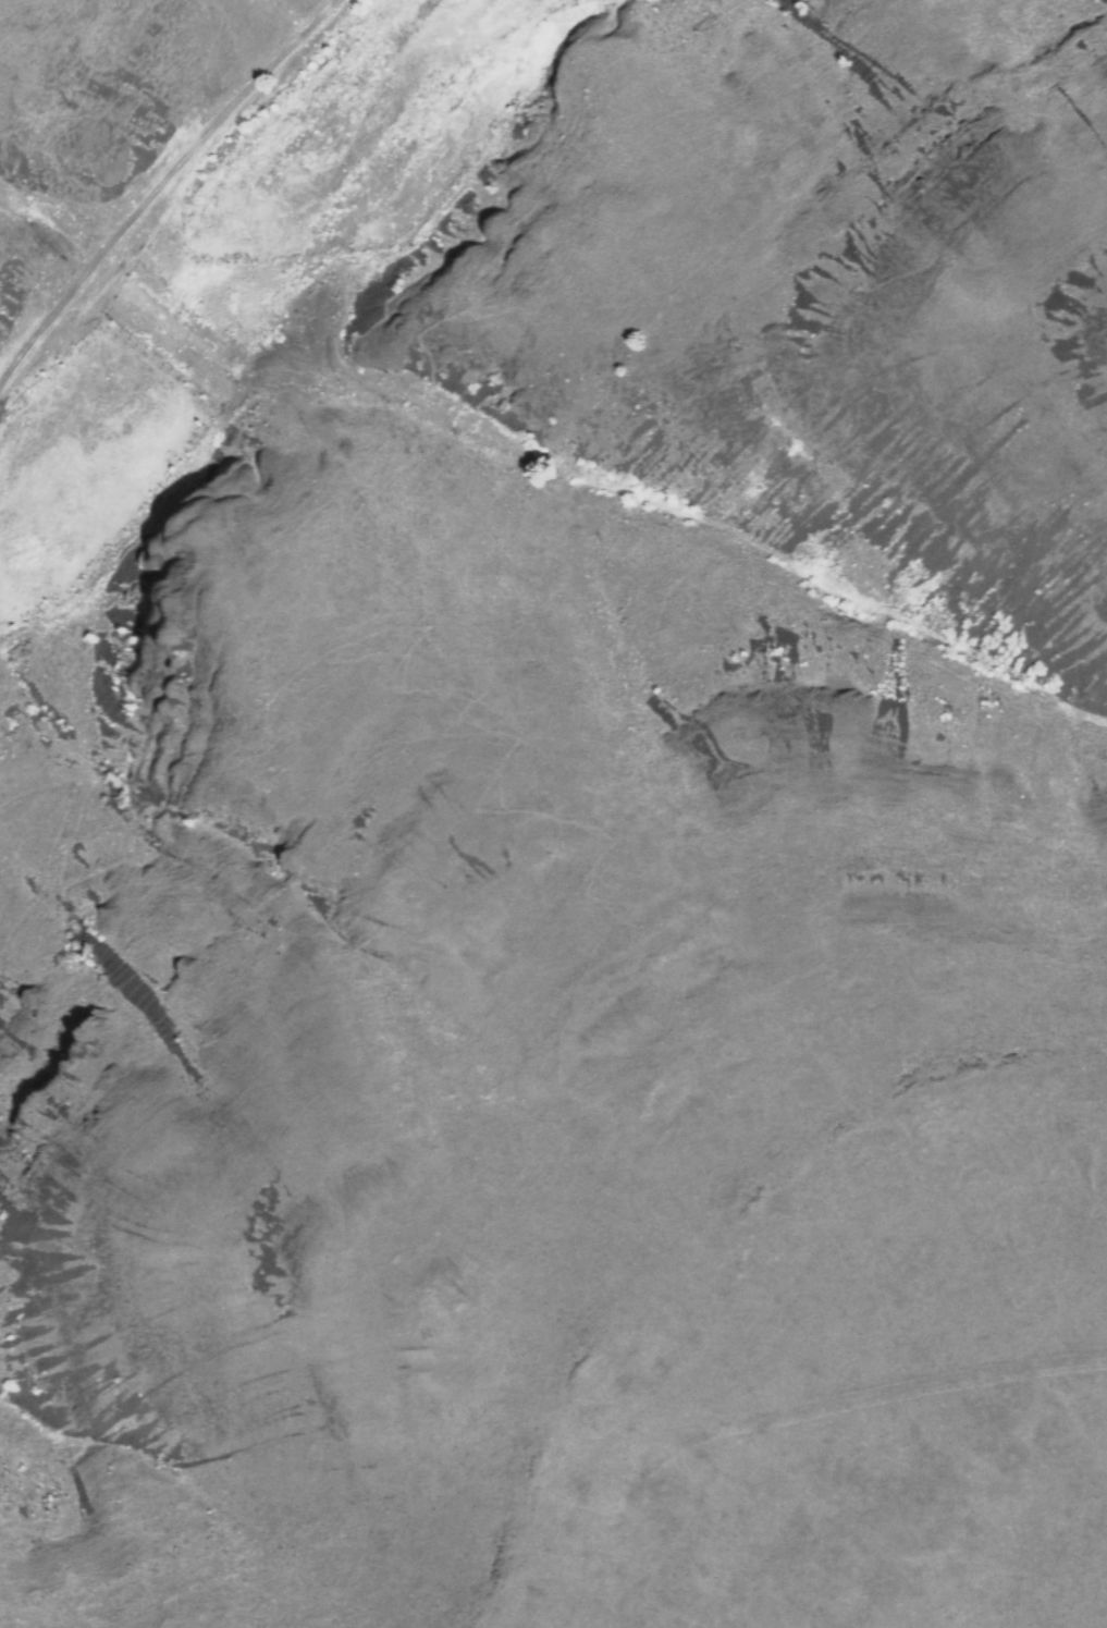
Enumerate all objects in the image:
road: (172, 191)

